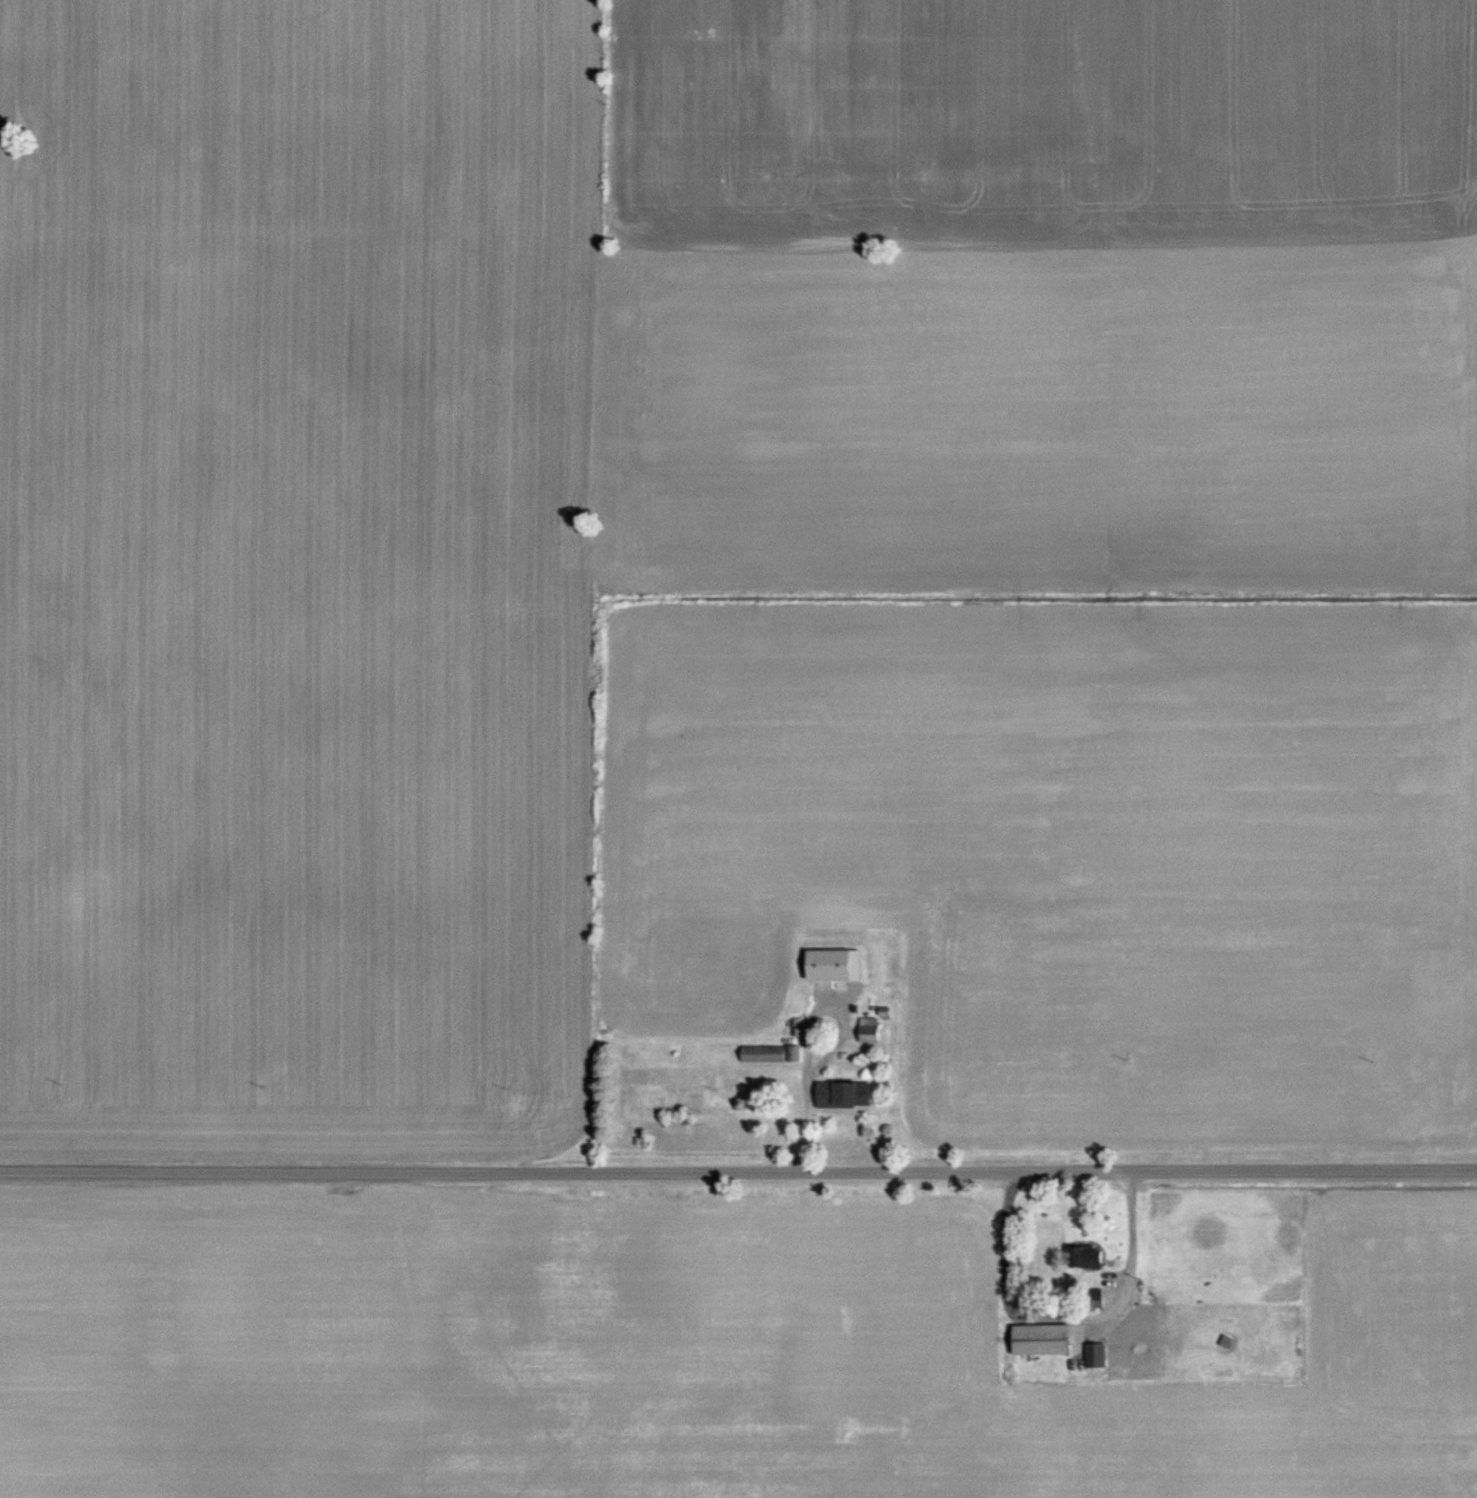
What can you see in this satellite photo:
building: (827, 966)
building: (868, 1032)
road: (805, 1047)
building: (770, 1056)
building: (842, 1098)
road: (738, 1191)
building: (1084, 1260)
building: (1094, 1305)
road: (1067, 1321)
building: (1039, 1343)
building: (1095, 1359)

